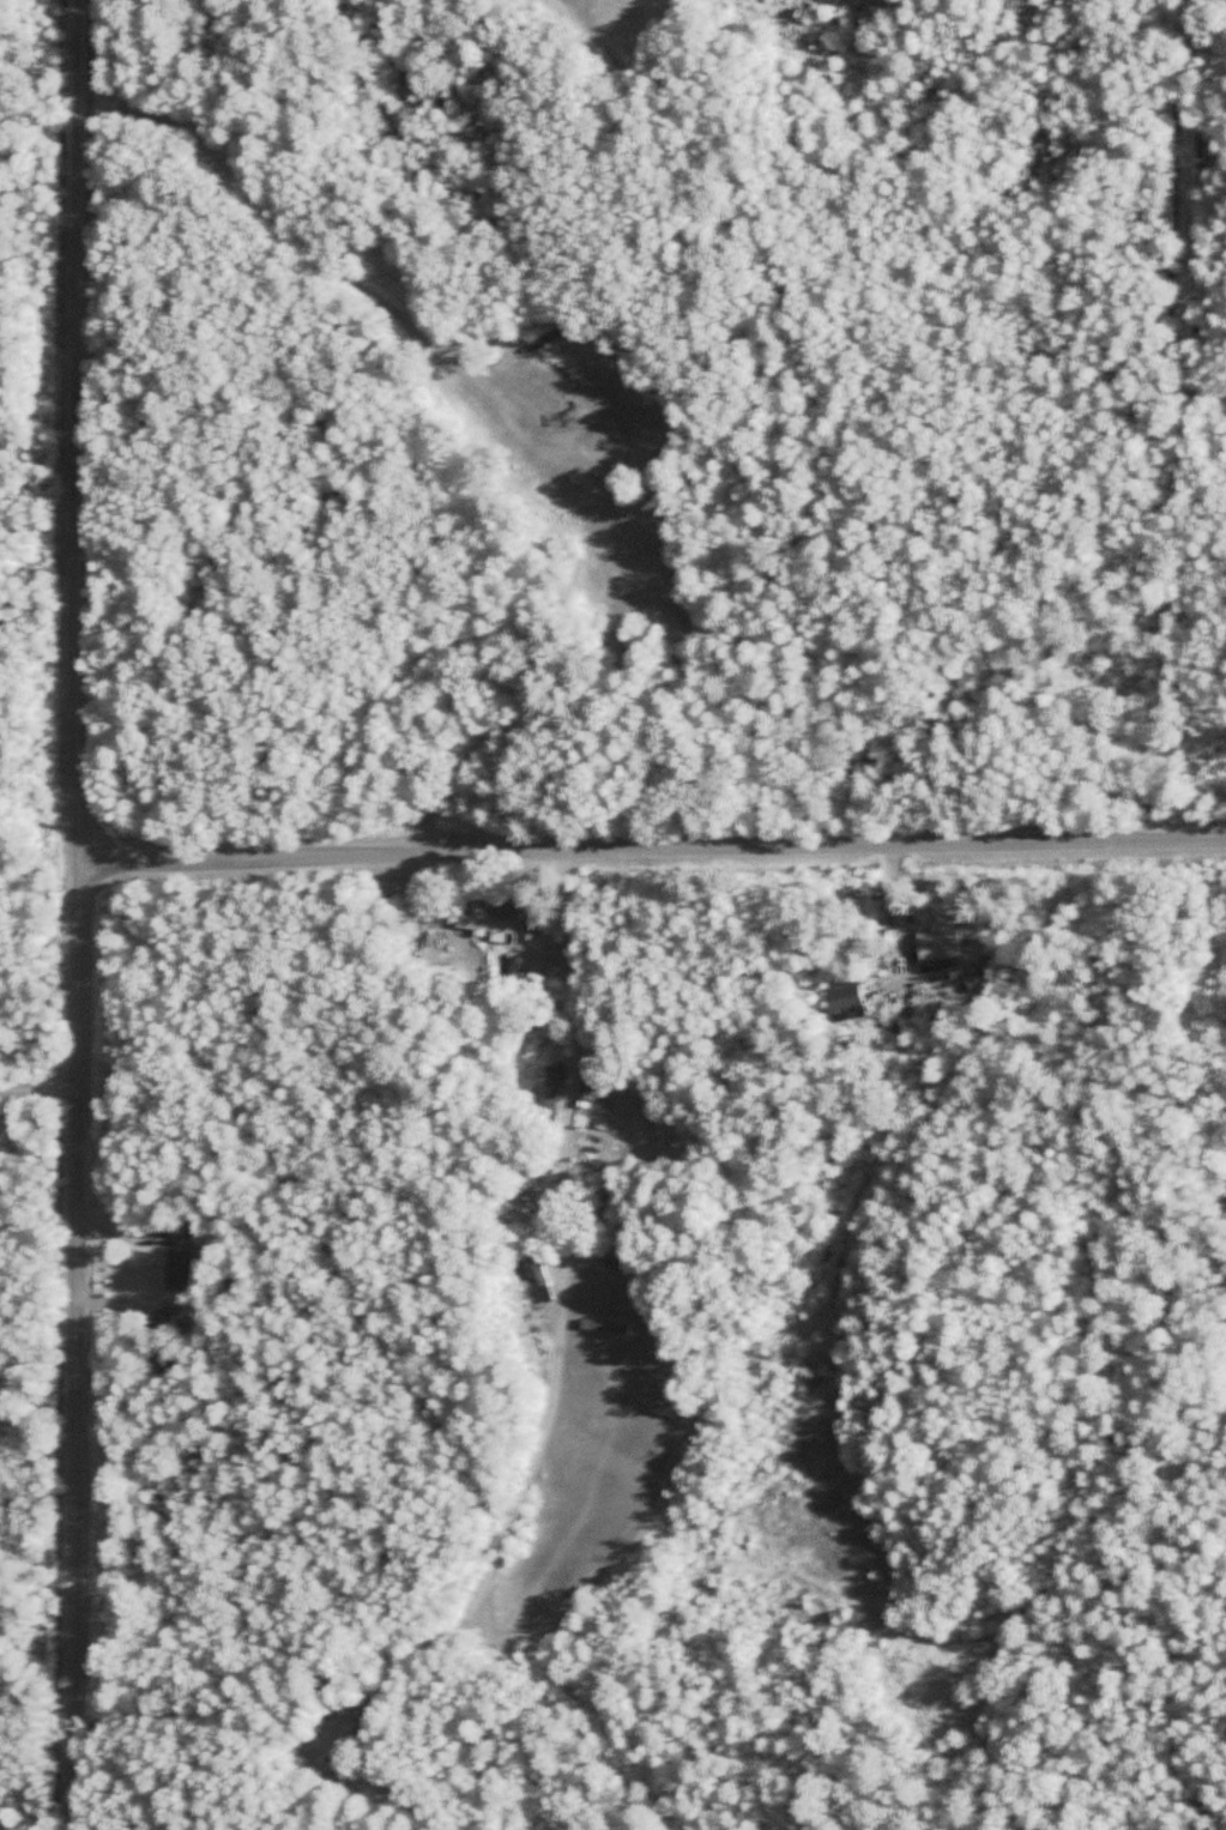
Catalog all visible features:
petroleum well: (563, 412)
road: (554, 457)
road: (654, 848)
road: (83, 914)
building: (488, 926)
building: (934, 938)
building: (841, 997)
building: (558, 1065)
building: (176, 1236)
building: (177, 1270)
road: (569, 1370)
building: (333, 1768)

